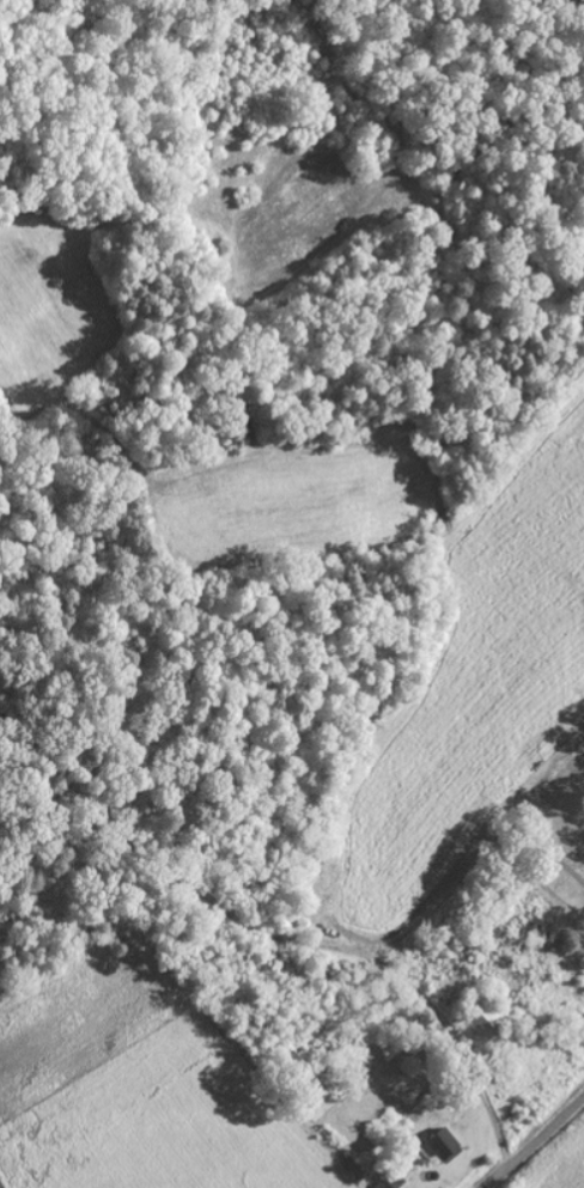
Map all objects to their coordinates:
building: (483, 1025)
road: (535, 1144)
building: (445, 1146)

